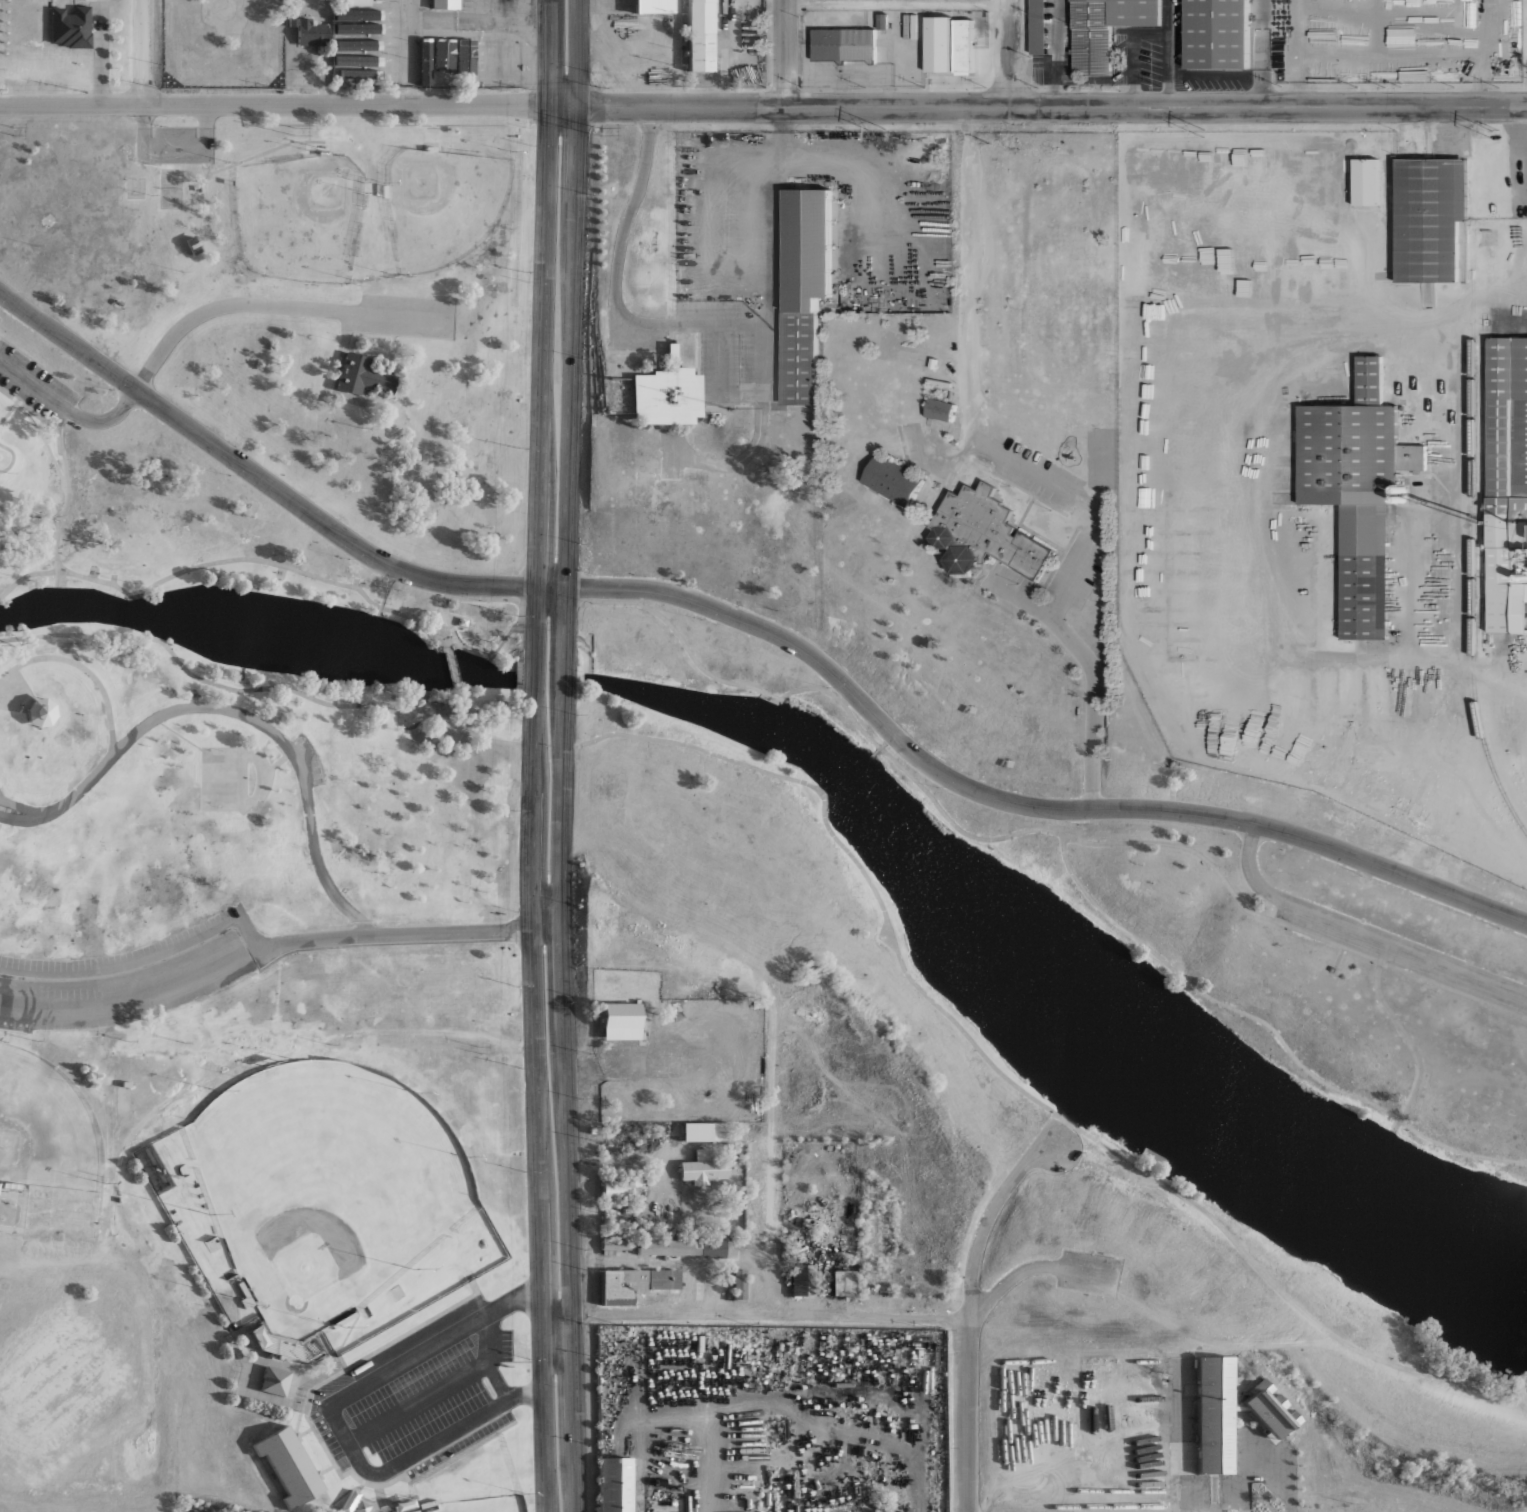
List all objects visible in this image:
building: (381, 0)
building: (507, 0)
building: (356, 2)
building: (444, 4)
building: (653, 6)
road: (896, 6)
building: (354, 14)
road: (510, 23)
building: (1042, 26)
building: (69, 27)
building: (358, 27)
building: (1105, 29)
building: (308, 32)
building: (1218, 34)
building: (700, 36)
building: (844, 44)
building: (963, 46)
road: (144, 51)
building: (356, 51)
road: (784, 52)
road: (1009, 53)
building: (463, 56)
building: (477, 58)
building: (488, 58)
building: (442, 59)
building: (410, 62)
building: (510, 63)
building: (424, 65)
building: (358, 73)
road: (763, 106)
road: (144, 125)
road: (207, 125)
power tower: (14, 131)
power tower: (602, 131)
power tower: (1490, 131)
power tower: (299, 132)
power tower: (1203, 132)
power tower: (884, 133)
parking lot: (174, 145)
road: (175, 148)
road: (262, 151)
building: (1366, 181)
park: (135, 186)
park: (170, 187)
road: (207, 198)
park: (442, 202)
park: (298, 216)
building: (1429, 217)
building: (191, 243)
road: (615, 281)
building: (805, 288)
park: (307, 300)
road: (231, 305)
parking lot: (407, 314)
road: (406, 316)
parking lot: (737, 352)
building: (364, 375)
parking lot: (35, 384)
building: (666, 393)
road: (741, 396)
road: (973, 401)
road: (68, 409)
building: (940, 409)
road: (8, 410)
road: (62, 439)
road: (45, 441)
road: (674, 451)
road: (12, 458)
road: (741, 459)
building: (893, 478)
building: (1507, 482)
building: (1358, 488)
road: (68, 496)
road: (30, 518)
building: (984, 534)
road: (258, 558)
railway: (1472, 560)
road: (446, 617)
building: (462, 620)
road: (756, 624)
road: (471, 647)
road: (453, 665)
road: (1090, 667)
road: (82, 668)
road: (250, 688)
road: (465, 708)
building: (39, 711)
road: (234, 712)
road: (532, 756)
road: (564, 756)
parking lot: (309, 760)
park: (219, 777)
road: (1, 797)
road: (934, 800)
road: (23, 806)
road: (859, 862)
road: (421, 931)
road: (1361, 934)
parking lot: (1400, 954)
road: (136, 967)
parking lot: (128, 977)
park: (1107, 986)
road: (145, 995)
park: (251, 995)
building: (617, 1021)
road: (1272, 1027)
road: (212, 1076)
park: (45, 1125)
building: (591, 1130)
building: (703, 1131)
building: (702, 1167)
park: (326, 1185)
building: (11, 1186)
building: (618, 1186)
road: (21, 1211)
building: (613, 1244)
building: (666, 1246)
building: (709, 1248)
road: (1031, 1267)
parking lot: (1090, 1272)
building: (800, 1280)
building: (842, 1283)
building: (632, 1284)
building: (738, 1285)
road: (1275, 1285)
road: (970, 1313)
road: (756, 1316)
building: (273, 1381)
parking lot: (422, 1392)
building: (1225, 1413)
road: (334, 1419)
road: (1183, 1437)
road: (1262, 1455)
building: (289, 1465)
building: (613, 1485)
building: (354, 1503)
building: (427, 1503)
park: (480, 1505)

